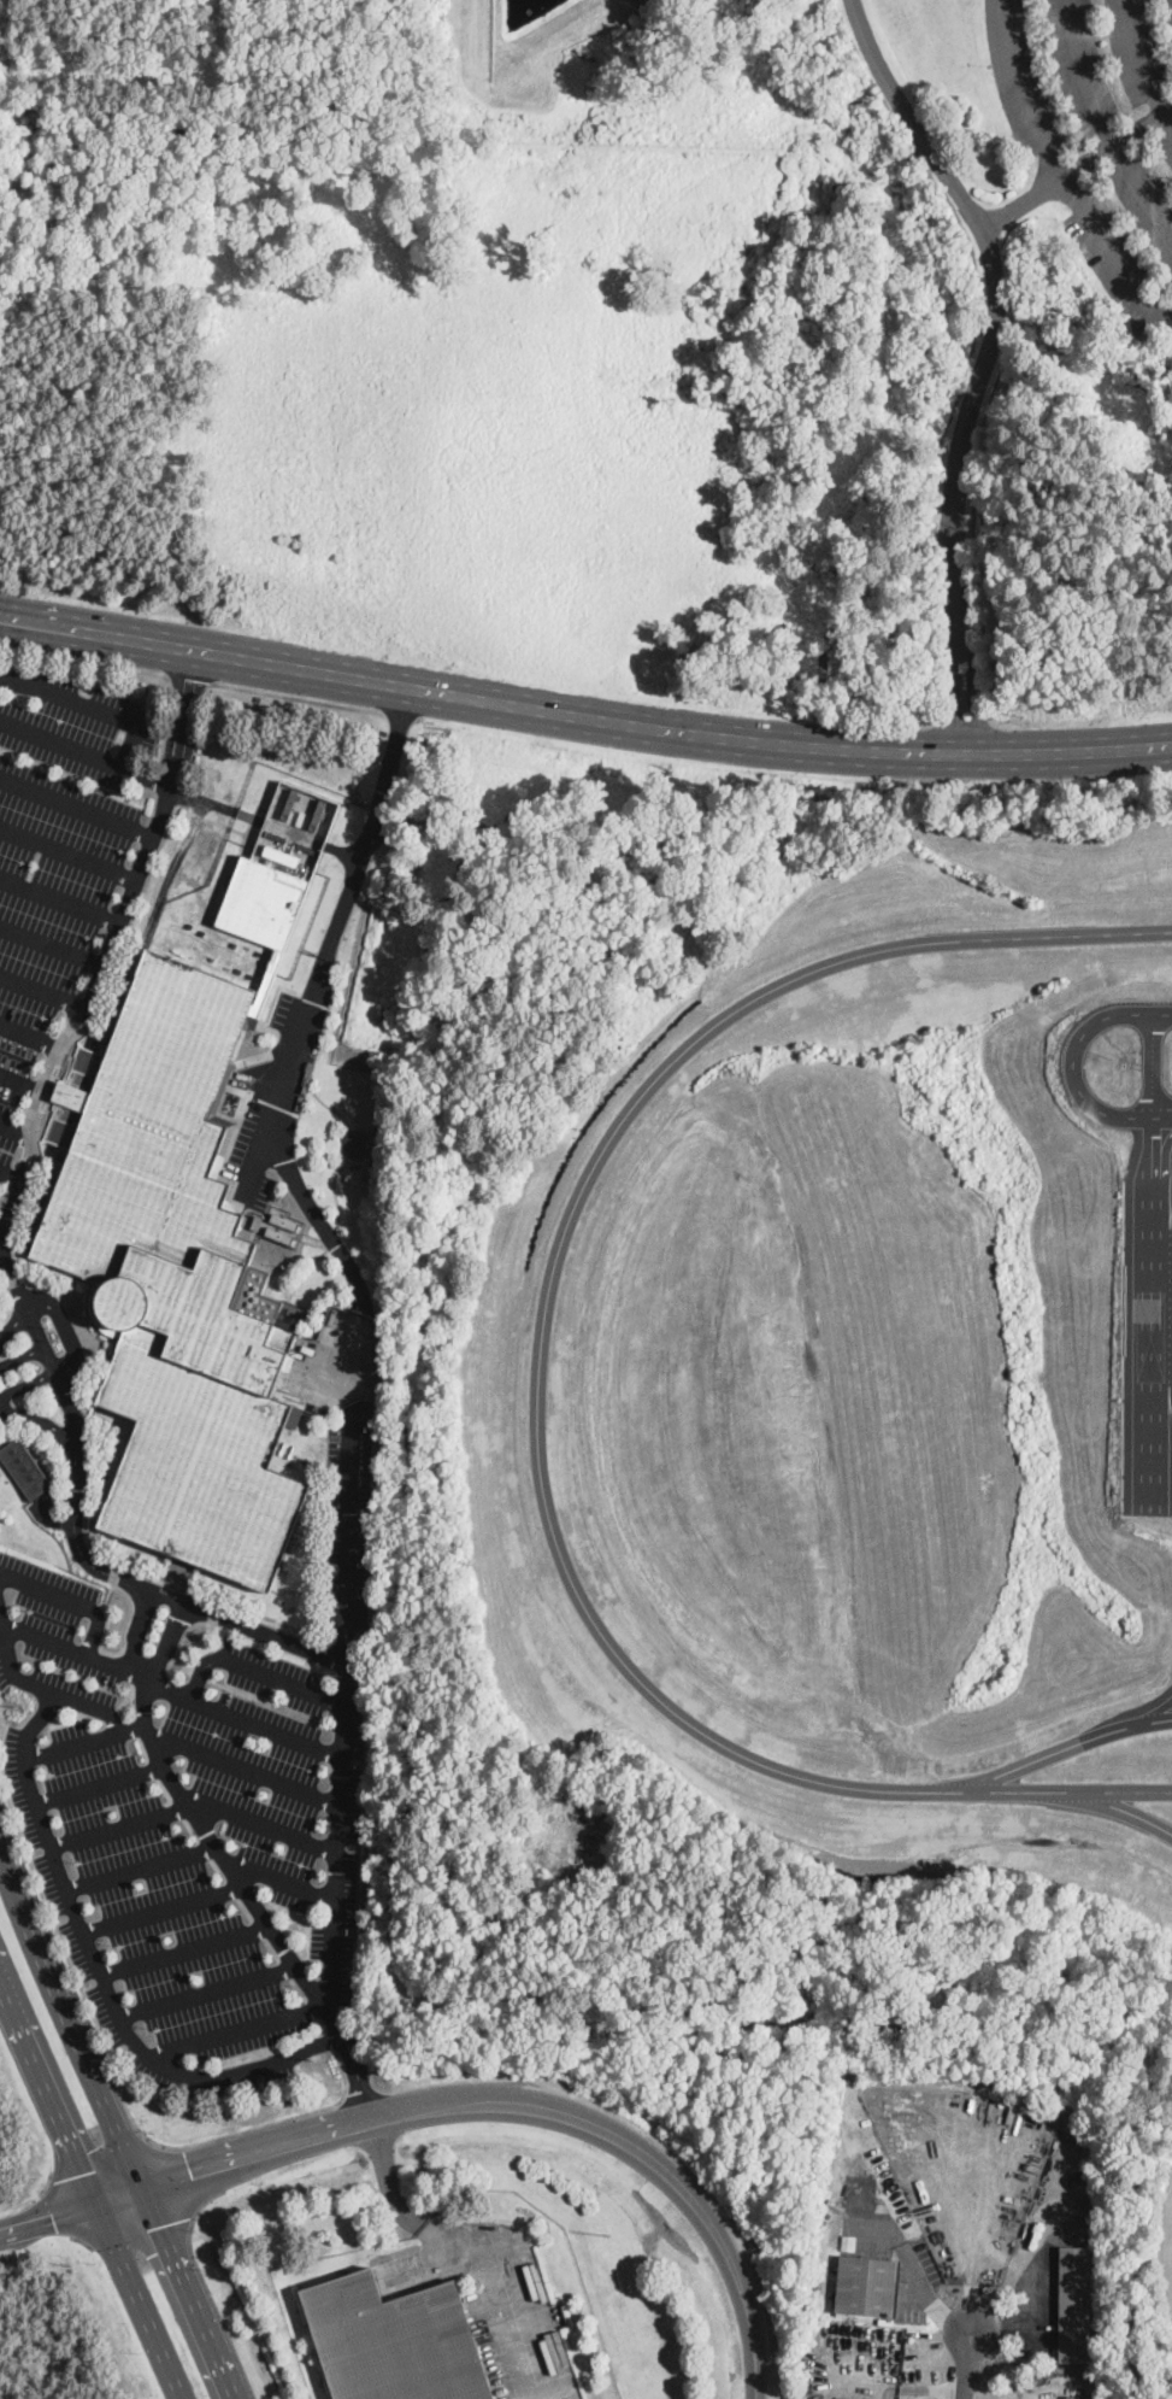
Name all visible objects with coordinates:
road: (1139, 66)
road: (1106, 125)
road: (1115, 140)
road: (1060, 177)
road: (1021, 201)
road: (987, 358)
road: (84, 658)
road: (188, 679)
road: (296, 697)
road: (90, 703)
road: (391, 714)
road: (583, 715)
road: (86, 750)
road: (77, 808)
road: (182, 849)
road: (69, 854)
building: (281, 854)
parking lot: (66, 862)
road: (61, 898)
road: (53, 949)
road: (45, 991)
building: (263, 991)
road: (30, 1036)
road: (1072, 1063)
road: (19, 1084)
road: (1155, 1115)
road: (14, 1128)
building: (357, 1142)
road: (287, 1155)
road: (8, 1179)
building: (257, 1221)
building: (287, 1221)
road: (2, 1222)
road: (4, 1233)
building: (282, 1234)
building: (175, 1278)
road: (30, 1307)
road: (22, 1351)
road: (52, 1371)
road: (536, 1379)
road: (45, 1420)
building: (26, 1470)
road: (67, 1599)
road: (135, 1627)
road: (170, 1641)
road: (258, 1667)
road: (167, 1685)
road: (53, 1689)
power tower: (17, 1706)
road: (1159, 1708)
road: (84, 1738)
road: (1064, 1746)
road: (243, 1767)
road: (99, 1784)
road: (192, 1805)
road: (1119, 1806)
road: (334, 1817)
road: (141, 1865)
road: (281, 1881)
road: (253, 1895)
road: (164, 1908)
road: (185, 1948)
road: (98, 1972)
road: (208, 1989)
road: (70, 2011)
road: (237, 2026)
power tower: (318, 2060)
road: (377, 2084)
road: (45, 2087)
road: (118, 2088)
road: (360, 2092)
road: (459, 2101)
road: (98, 2157)
traffic signals: (81, 2172)
traffic signals: (192, 2174)
road: (181, 2180)
road: (46, 2181)
road: (58, 2209)
road: (406, 2212)
traffic signals: (54, 2215)
traffic signals: (160, 2224)
power tower: (606, 2233)
road: (142, 2235)
road: (82, 2240)
building: (868, 2287)
road: (207, 2289)
road: (190, 2293)
building: (814, 2298)
road: (139, 2300)
building: (1076, 2305)
road: (936, 2310)
road: (1024, 2313)
road: (537, 2318)
road: (503, 2335)
building: (395, 2341)
road: (966, 2362)
road: (915, 2387)
road: (1002, 2393)
road: (547, 2398)

